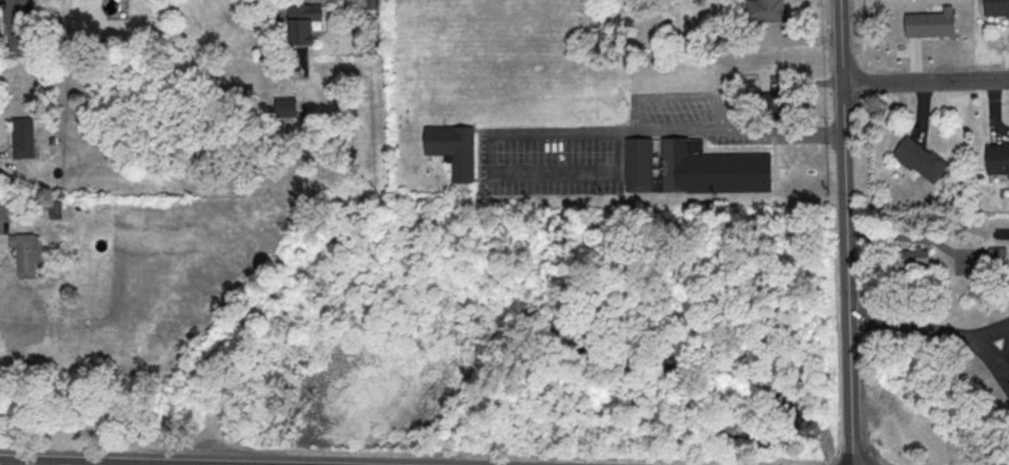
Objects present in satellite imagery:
road: (370, 5)
building: (997, 9)
building: (766, 12)
building: (16, 17)
building: (302, 22)
building: (930, 27)
road: (841, 42)
road: (925, 81)
building: (775, 107)
road: (565, 132)
building: (23, 141)
building: (453, 152)
building: (998, 161)
building: (921, 162)
building: (693, 169)
building: (55, 210)
building: (26, 256)
building: (998, 260)
building: (914, 261)
road: (845, 275)
road: (929, 326)
road: (995, 352)
park: (545, 356)
road: (26, 464)

